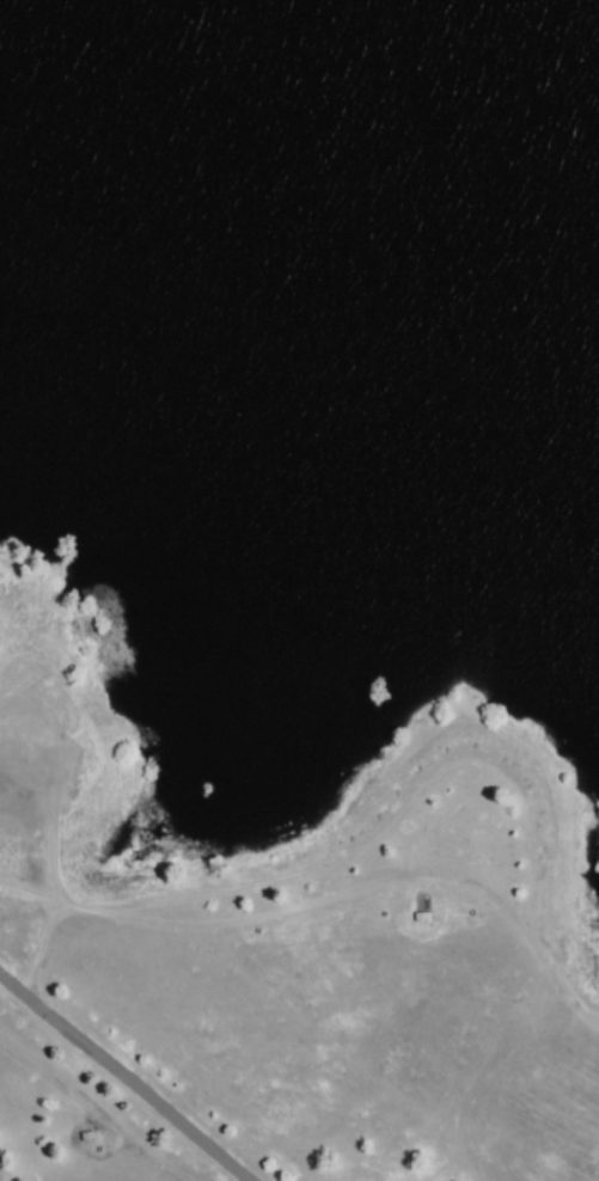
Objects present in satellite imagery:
road: (123, 1077)

